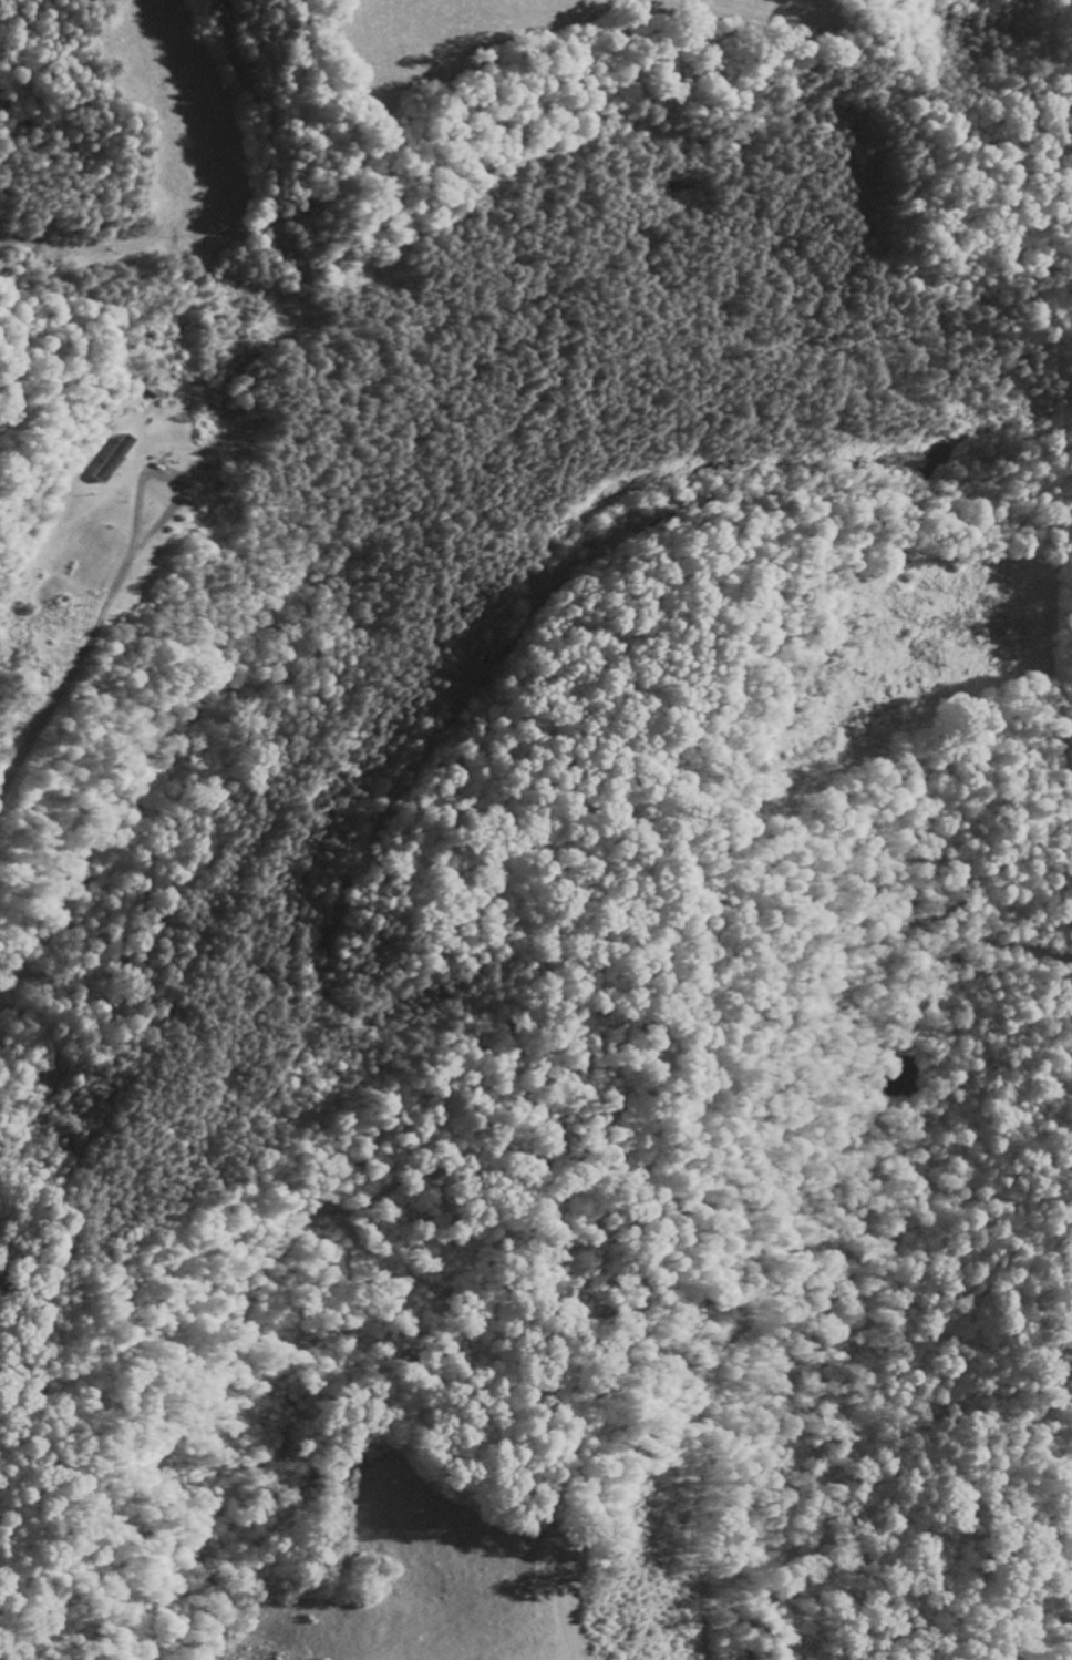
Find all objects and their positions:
building: (121, 450)
road: (982, 1574)

